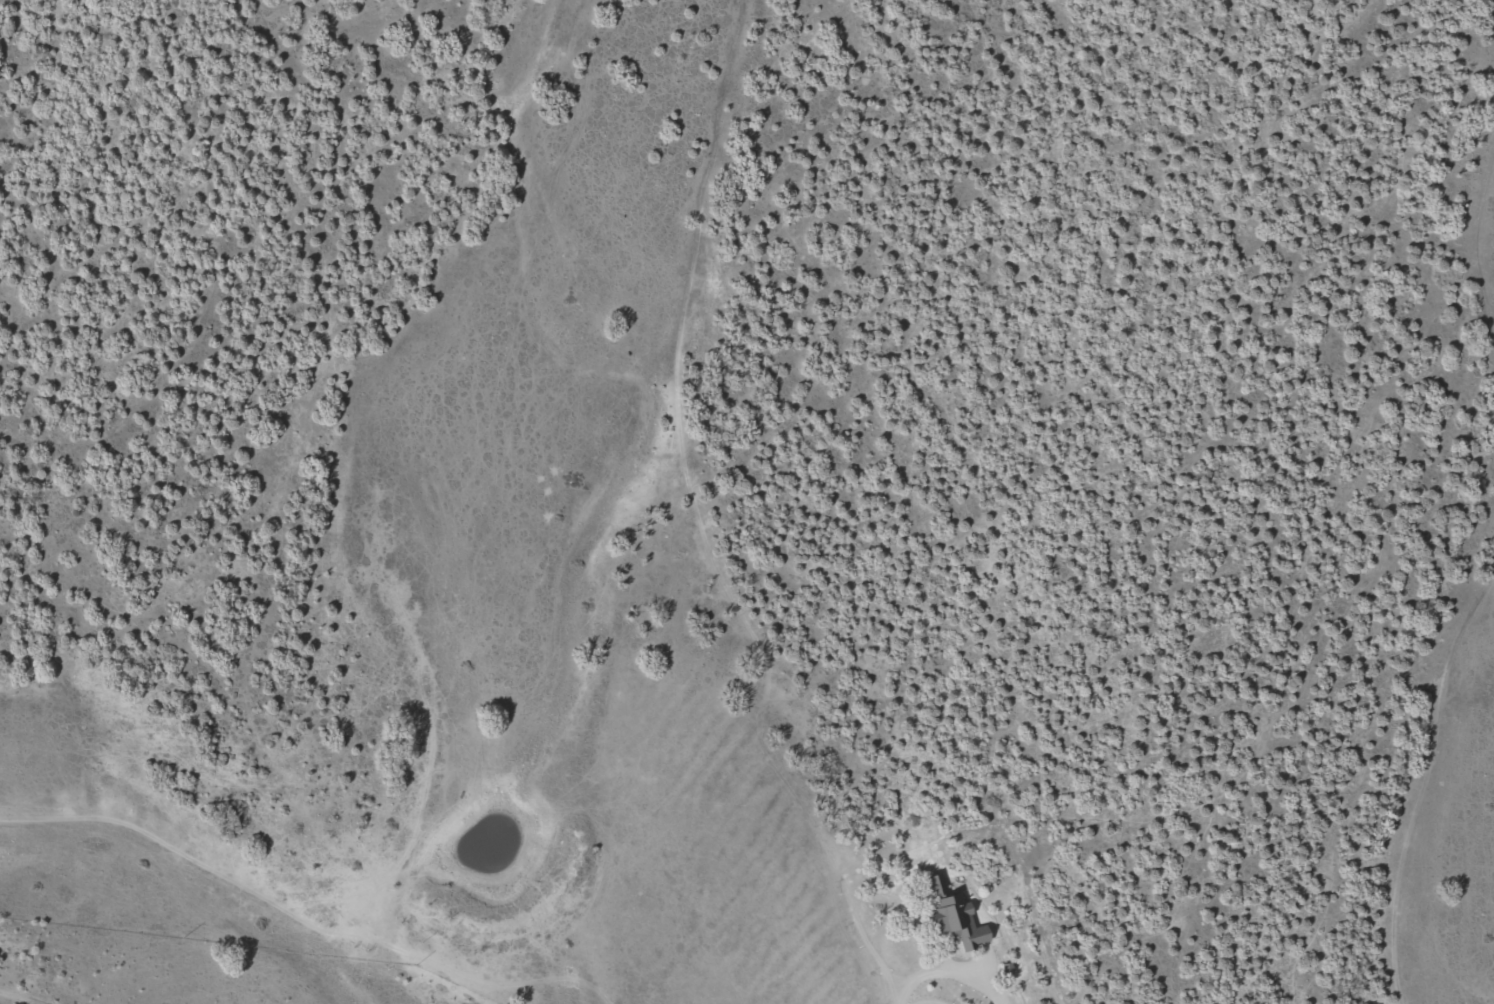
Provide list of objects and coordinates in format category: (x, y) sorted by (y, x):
road: (213, 887)

